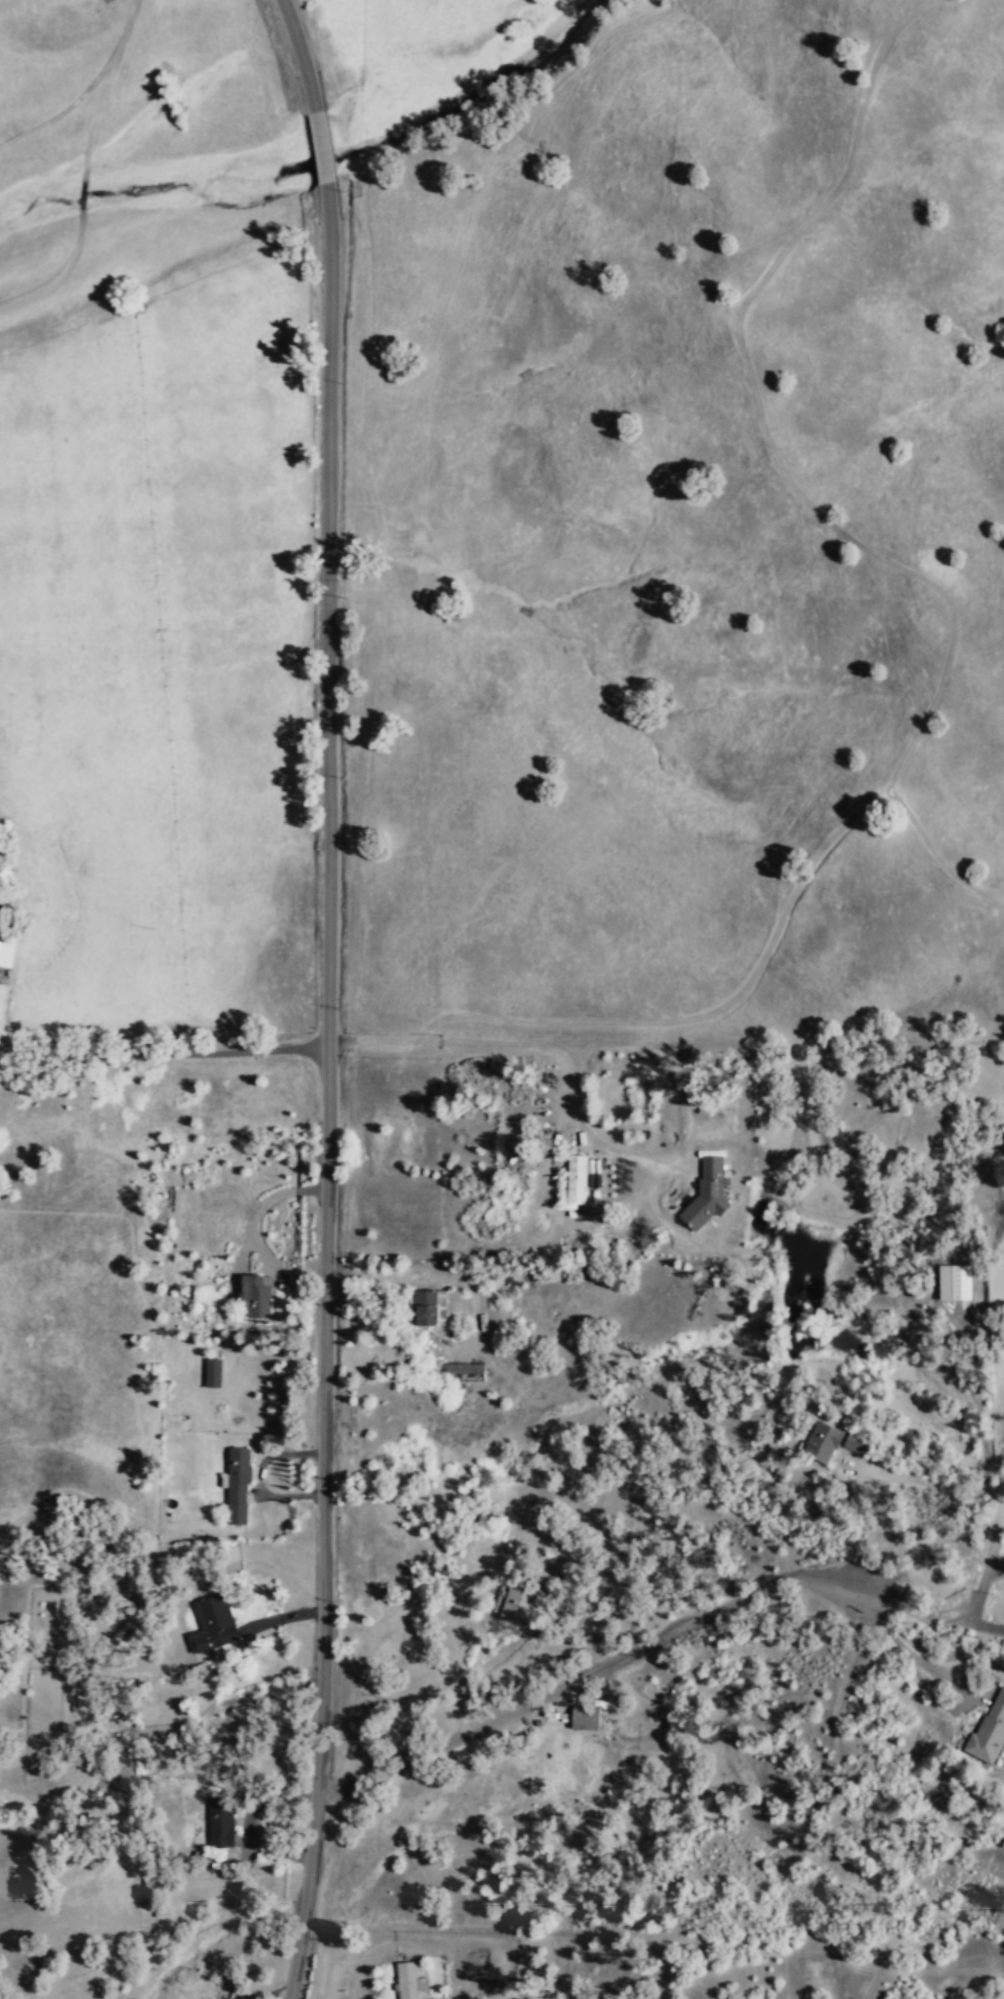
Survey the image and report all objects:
road: (303, 54)
road: (85, 88)
road: (324, 145)
building: (7, 944)
road: (327, 1090)
building: (578, 1184)
building: (708, 1193)
building: (962, 1281)
building: (257, 1294)
building: (433, 1306)
building: (467, 1368)
building: (214, 1371)
building: (823, 1439)
building: (860, 1442)
building: (239, 1484)
road: (994, 1567)
building: (520, 1600)
building: (214, 1623)
road: (656, 1650)
building: (586, 1716)
building: (991, 1729)
building: (222, 1821)
building: (154, 1889)
building: (162, 1911)
building: (410, 1980)
road: (864, 1988)
building: (436, 1998)

